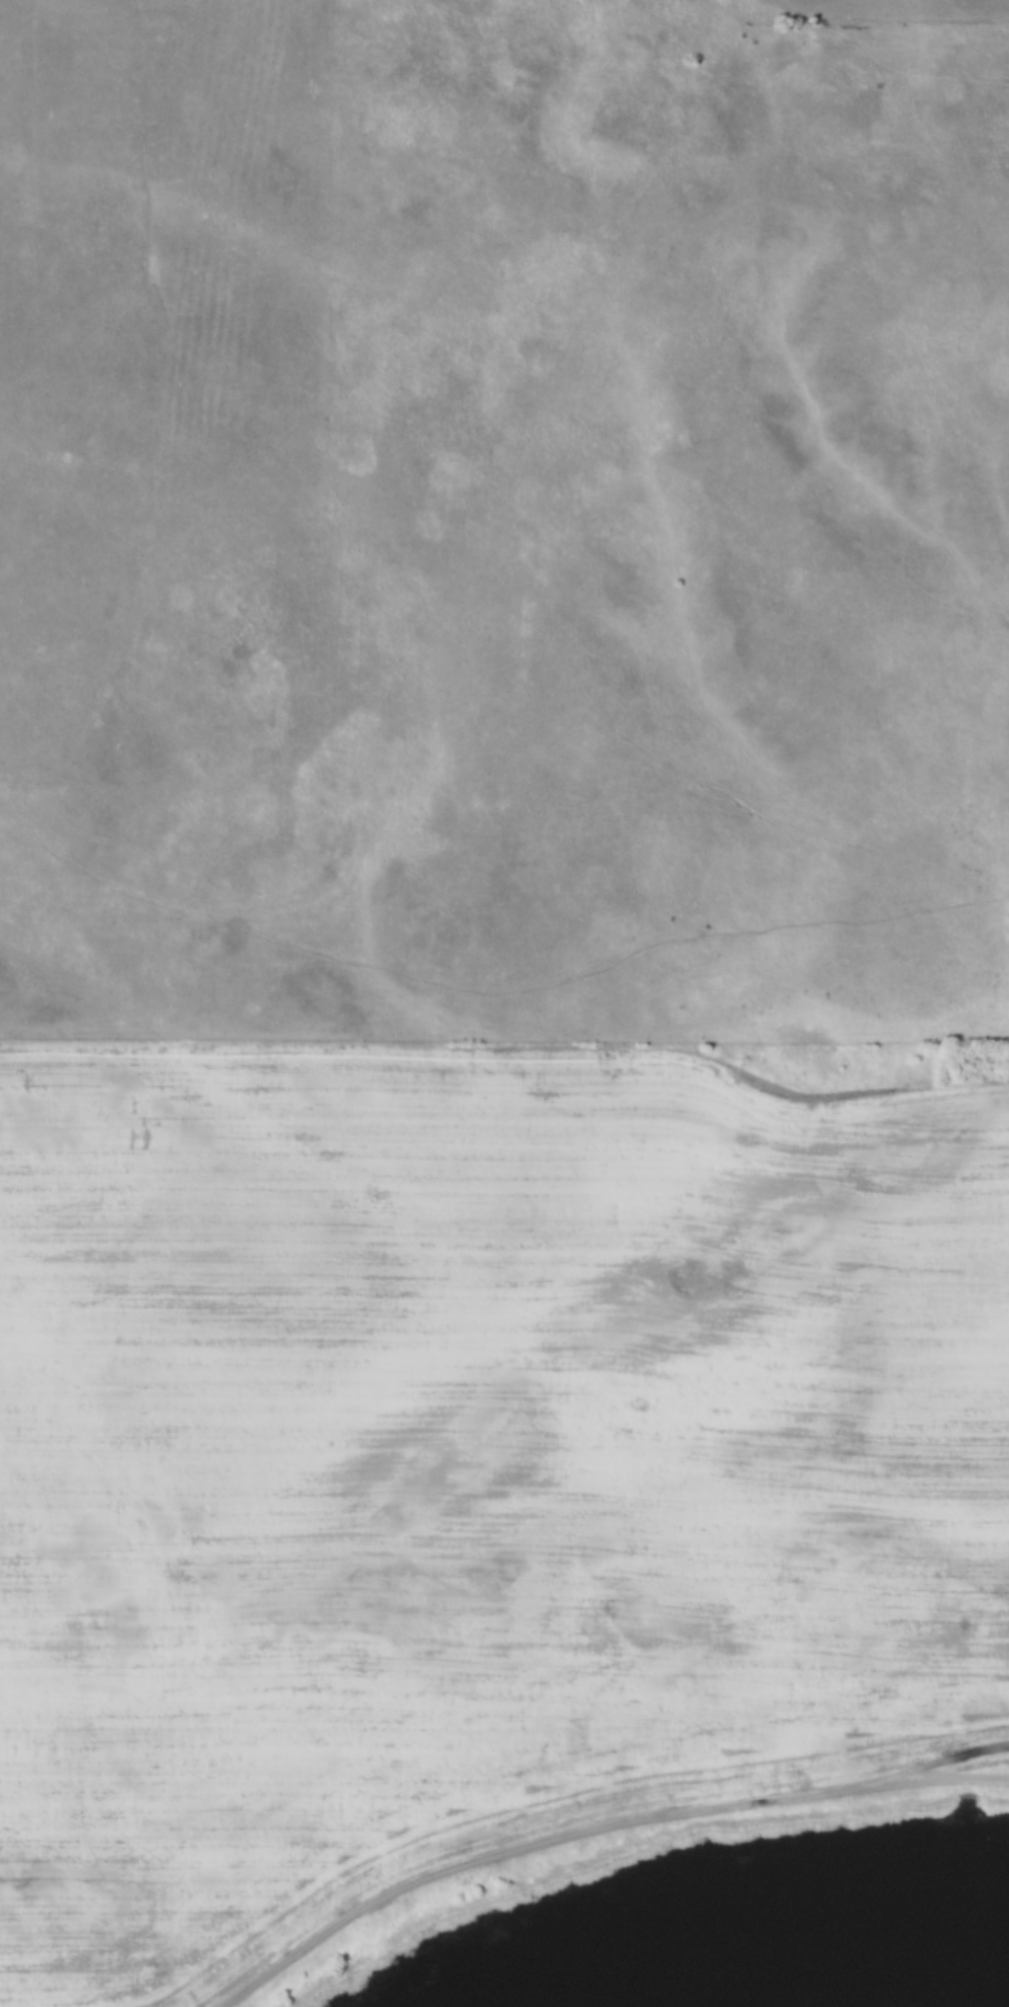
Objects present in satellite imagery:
road: (588, 1820)

